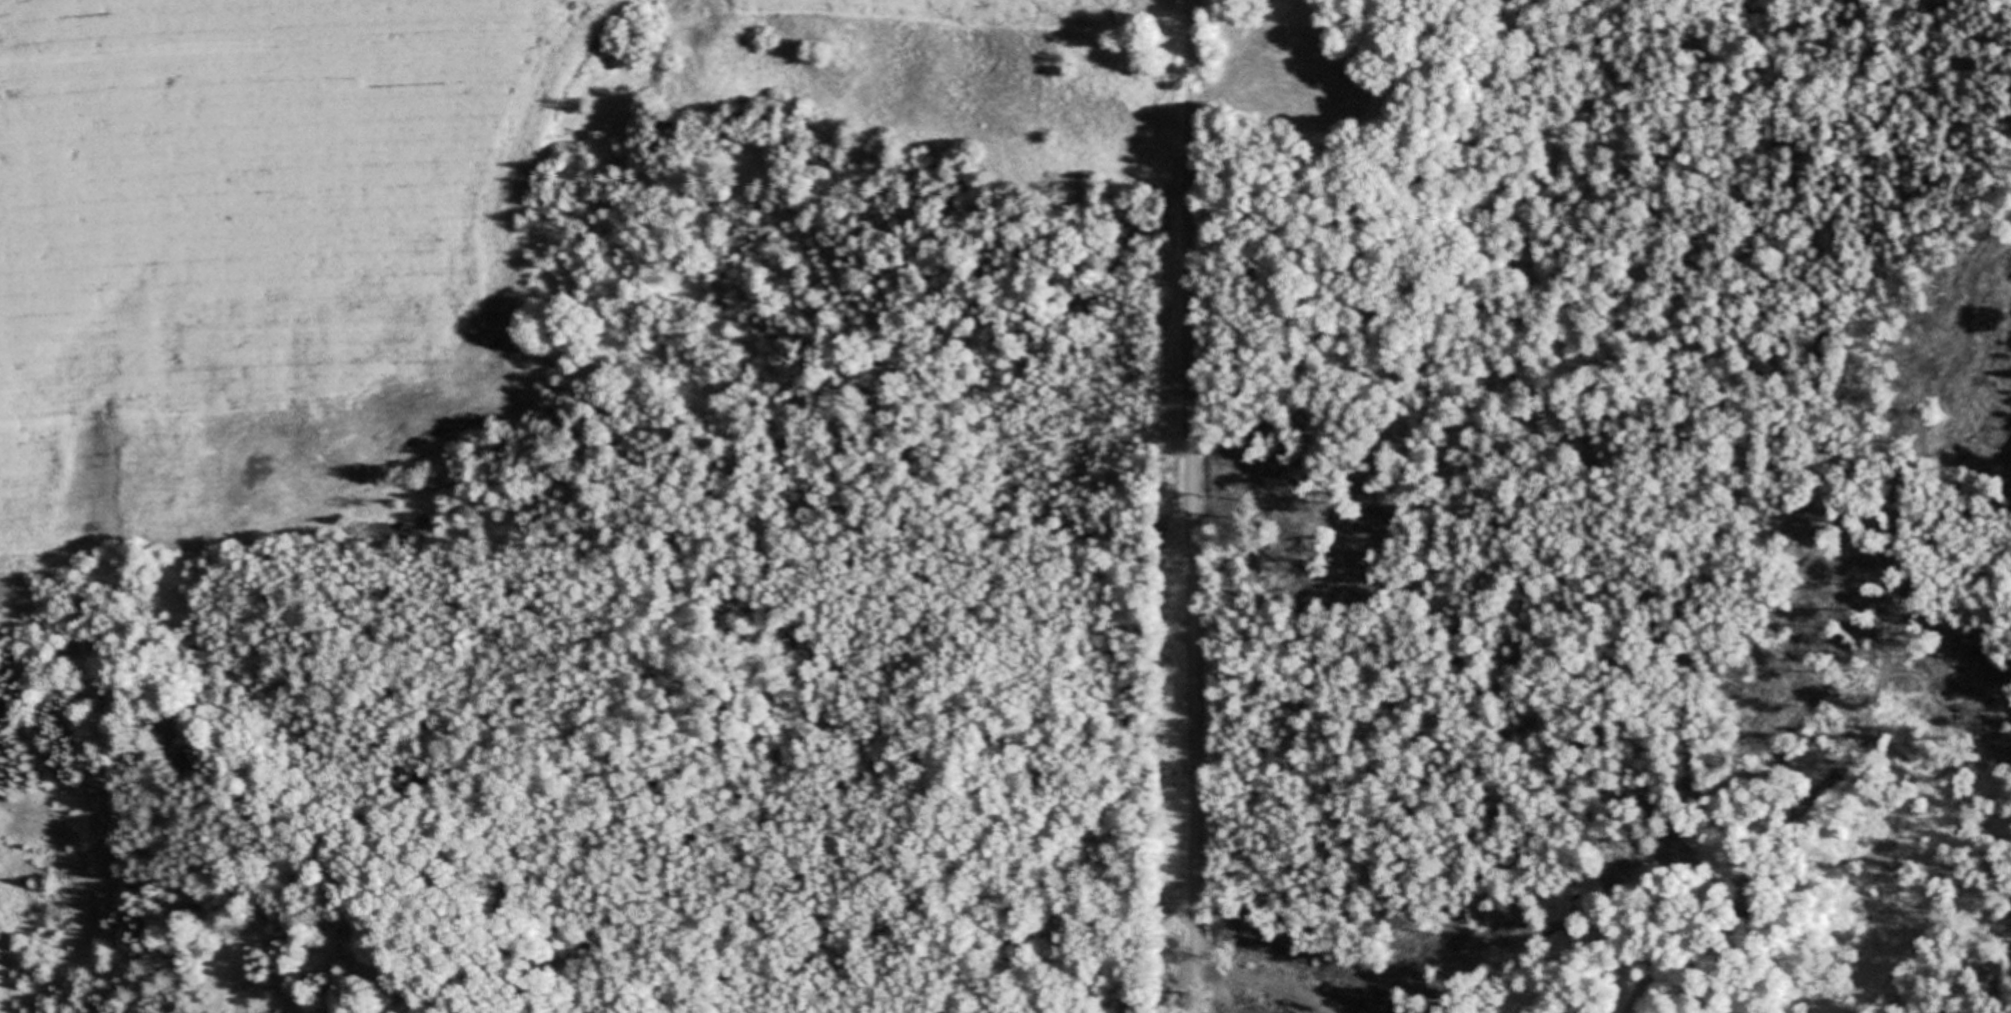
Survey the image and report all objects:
road: (1189, 506)

